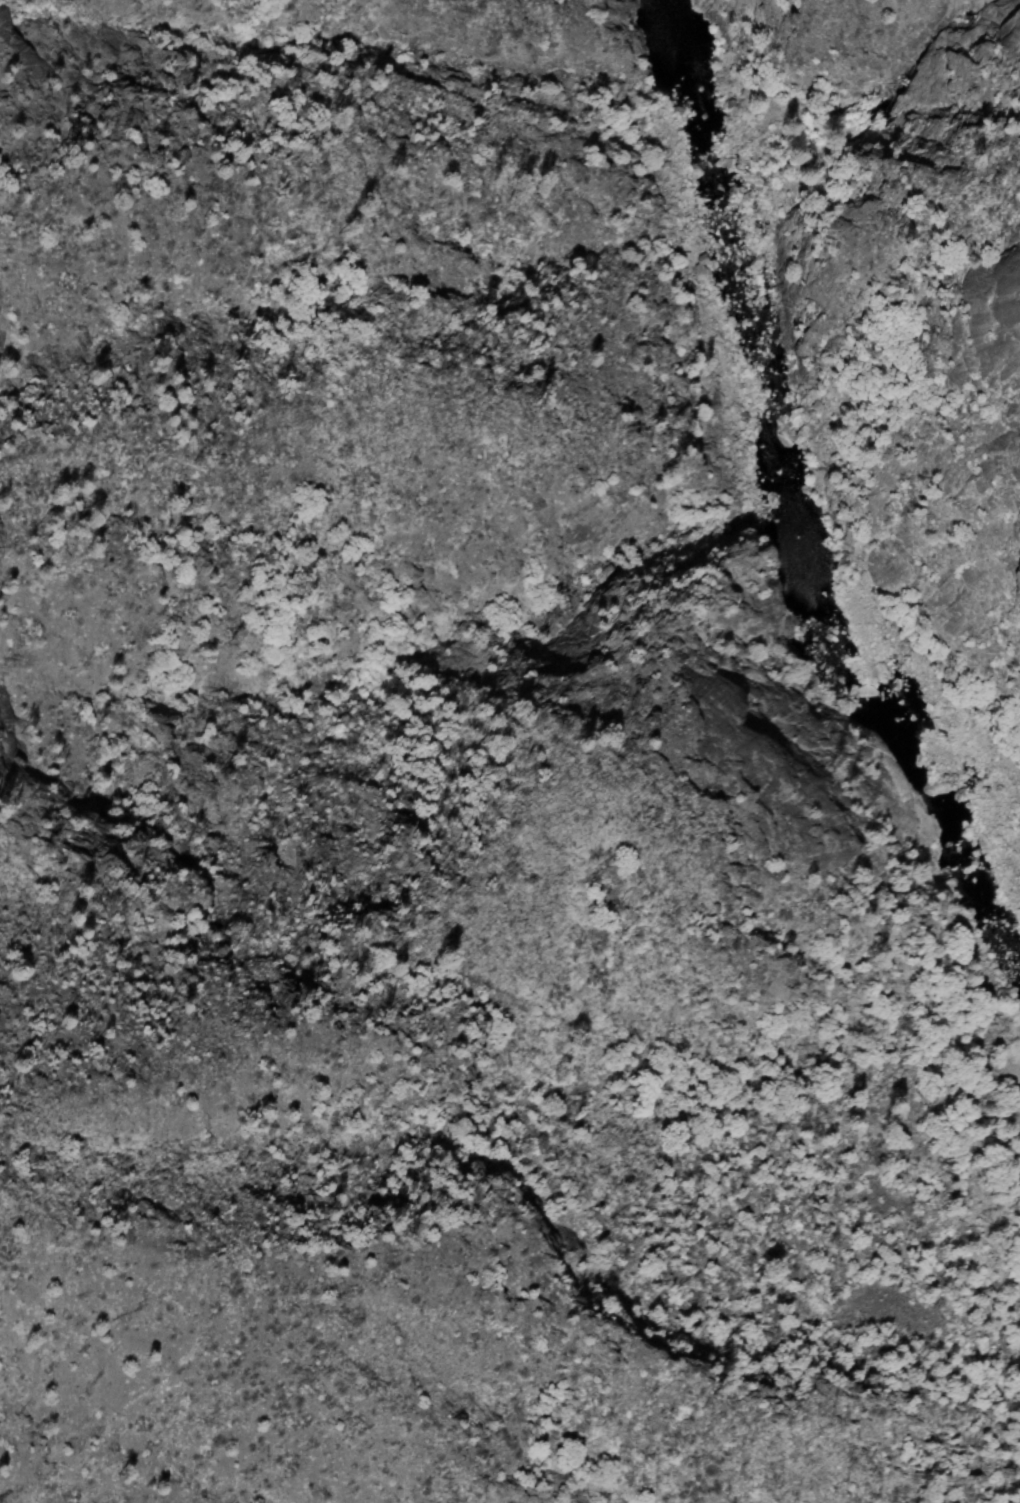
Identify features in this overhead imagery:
river: (789, 528)

